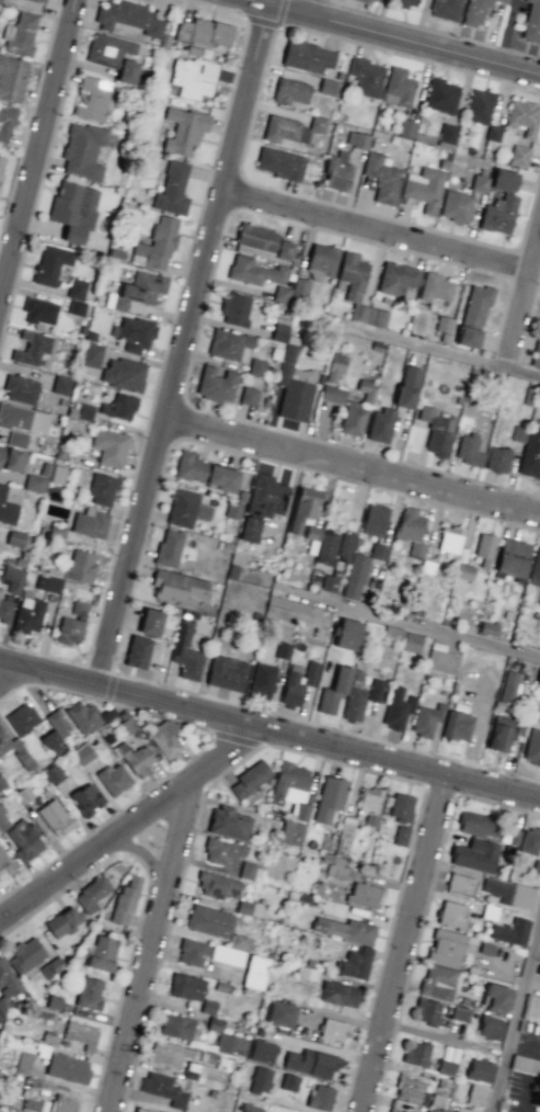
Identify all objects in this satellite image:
building: (42, 0)
building: (371, 0)
building: (502, 0)
building: (404, 3)
building: (445, 9)
road: (323, 11)
building: (474, 13)
building: (127, 16)
building: (531, 22)
building: (204, 32)
building: (19, 35)
road: (389, 39)
building: (113, 55)
building: (307, 56)
building: (366, 76)
building: (193, 77)
building: (11, 78)
building: (399, 86)
building: (330, 87)
building: (289, 91)
building: (440, 95)
building: (91, 98)
building: (479, 105)
building: (524, 116)
building: (5, 122)
building: (406, 127)
building: (291, 128)
building: (183, 129)
building: (493, 133)
building: (447, 135)
building: (357, 139)
building: (82, 150)
road: (41, 156)
building: (519, 156)
building: (1, 163)
building: (278, 163)
building: (337, 172)
building: (381, 178)
building: (479, 183)
building: (424, 188)
building: (171, 189)
building: (499, 204)
building: (456, 206)
building: (73, 209)
road: (381, 234)
building: (262, 240)
building: (156, 245)
building: (322, 259)
building: (50, 263)
building: (254, 271)
building: (395, 279)
building: (436, 287)
building: (139, 290)
building: (291, 290)
building: (357, 290)
building: (76, 296)
building: (475, 305)
building: (235, 309)
building: (38, 310)
road: (525, 311)
building: (443, 324)
building: (279, 331)
building: (135, 333)
building: (467, 337)
building: (228, 343)
building: (31, 348)
road: (189, 348)
building: (536, 351)
road: (446, 354)
building: (90, 355)
building: (256, 366)
building: (334, 366)
building: (123, 374)
building: (60, 384)
building: (215, 385)
building: (294, 385)
building: (406, 387)
building: (20, 389)
building: (365, 389)
building: (332, 394)
building: (248, 396)
building: (119, 407)
building: (23, 418)
building: (352, 419)
building: (379, 425)
building: (436, 431)
building: (517, 433)
building: (16, 439)
building: (110, 446)
building: (468, 450)
building: (530, 454)
building: (12, 458)
building: (497, 459)
road: (356, 467)
building: (204, 472)
building: (57, 474)
building: (34, 484)
building: (101, 490)
building: (266, 496)
building: (7, 508)
building: (185, 508)
building: (302, 508)
building: (374, 520)
building: (90, 524)
building: (249, 530)
building: (410, 531)
building: (56, 532)
building: (311, 532)
building: (18, 538)
building: (449, 538)
building: (344, 547)
building: (168, 548)
building: (325, 548)
building: (484, 549)
building: (378, 552)
building: (512, 559)
building: (80, 567)
building: (535, 568)
building: (355, 576)
building: (14, 583)
building: (48, 583)
building: (329, 583)
building: (177, 588)
building: (286, 610)
building: (4, 611)
building: (27, 614)
building: (150, 622)
building: (71, 624)
road: (434, 627)
building: (393, 632)
building: (347, 634)
building: (411, 643)
building: (185, 650)
building: (137, 651)
building: (439, 659)
building: (226, 672)
building: (310, 673)
building: (538, 678)
road: (14, 680)
building: (262, 680)
building: (508, 687)
building: (291, 689)
building: (375, 690)
building: (333, 691)
building: (354, 697)
building: (397, 707)
building: (536, 713)
building: (82, 716)
building: (21, 718)
building: (426, 719)
building: (57, 723)
building: (455, 725)
road: (269, 731)
building: (499, 734)
building: (49, 739)
building: (164, 740)
building: (532, 747)
building: (14, 749)
building: (82, 753)
building: (137, 760)
building: (53, 773)
building: (113, 779)
building: (250, 779)
building: (291, 787)
building: (251, 796)
building: (330, 798)
building: (85, 799)
building: (369, 804)
building: (401, 807)
building: (54, 817)
building: (3, 820)
building: (228, 822)
building: (478, 825)
road: (133, 829)
building: (290, 832)
building: (400, 835)
building: (513, 837)
building: (24, 839)
building: (530, 841)
building: (222, 850)
road: (146, 854)
building: (475, 855)
building: (4, 863)
building: (246, 870)
building: (335, 870)
building: (217, 885)
building: (460, 885)
building: (509, 893)
building: (91, 894)
building: (363, 894)
building: (124, 900)
building: (250, 908)
building: (451, 915)
building: (62, 921)
building: (209, 921)
building: (344, 929)
building: (510, 931)
road: (407, 944)
building: (446, 948)
road: (153, 952)
building: (192, 952)
building: (101, 953)
building: (25, 954)
building: (226, 955)
building: (354, 963)
building: (51, 966)
building: (538, 971)
building: (254, 972)
building: (437, 981)
building: (7, 984)
building: (186, 987)
building: (89, 992)
building: (338, 994)
building: (495, 997)
building: (427, 1011)
building: (280, 1013)
building: (0, 1018)
road: (516, 1019)
building: (175, 1026)
building: (490, 1028)
building: (332, 1029)
building: (81, 1035)
building: (230, 1044)
building: (262, 1051)
building: (168, 1053)
building: (416, 1054)
building: (310, 1063)
building: (67, 1068)
building: (479, 1069)
building: (200, 1074)
building: (260, 1079)
building: (288, 1082)
building: (163, 1089)
building: (409, 1089)
building: (476, 1094)
building: (537, 1096)
building: (320, 1097)
building: (64, 1103)
building: (250, 1109)
building: (141, 1110)
building: (434, 1110)
building: (393, 1111)

